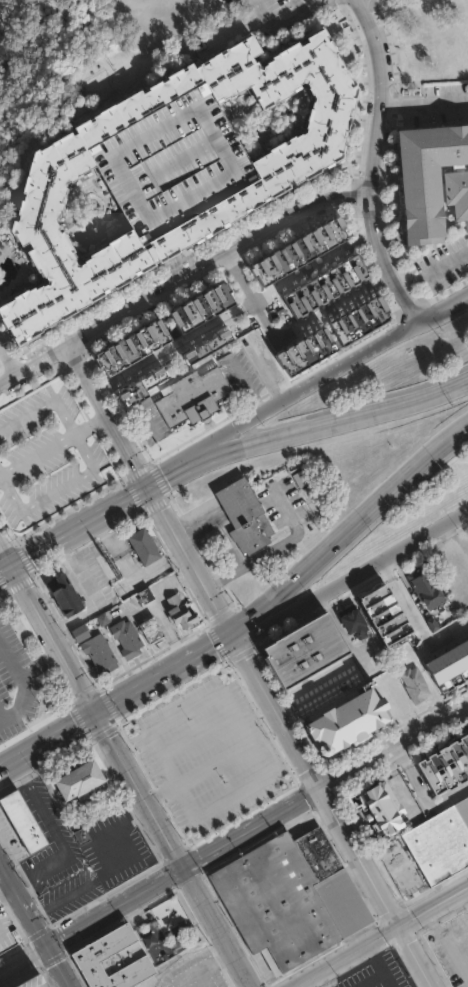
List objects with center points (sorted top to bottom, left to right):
building: (454, 6)
road: (306, 7)
road: (312, 13)
road: (269, 15)
park: (51, 72)
road: (423, 101)
building: (170, 158)
parking garage: (170, 158)
road: (369, 163)
building: (430, 175)
building: (235, 199)
building: (291, 253)
road: (447, 264)
road: (313, 272)
road: (176, 280)
road: (237, 280)
building: (319, 288)
road: (442, 307)
road: (332, 308)
building: (198, 310)
road: (264, 323)
building: (351, 323)
building: (204, 349)
building: (129, 350)
road: (175, 350)
building: (297, 354)
road: (10, 365)
building: (136, 390)
road: (302, 393)
building: (191, 402)
road: (110, 416)
road: (328, 424)
road: (55, 448)
parking lot: (46, 460)
road: (169, 477)
building: (299, 479)
traffic signals: (148, 487)
building: (245, 517)
road: (82, 526)
road: (351, 534)
road: (453, 537)
building: (144, 548)
road: (8, 551)
road: (189, 559)
traffic signals: (17, 566)
road: (8, 570)
road: (351, 577)
building: (59, 597)
building: (427, 599)
building: (144, 600)
building: (383, 613)
building: (178, 617)
road: (417, 620)
building: (347, 622)
traffic signals: (230, 632)
building: (150, 634)
road: (56, 640)
building: (109, 647)
building: (309, 655)
building: (448, 664)
road: (163, 674)
parking lot: (22, 676)
building: (19, 680)
building: (414, 684)
traffic signals: (95, 714)
building: (348, 722)
road: (196, 733)
road: (47, 742)
parking lot: (208, 753)
building: (443, 764)
road: (199, 773)
building: (77, 779)
road: (138, 790)
building: (378, 804)
road: (331, 809)
road: (196, 818)
building: (22, 819)
road: (258, 823)
building: (81, 835)
parking lot: (114, 850)
building: (428, 850)
parking lot: (56, 861)
building: (289, 897)
road: (24, 900)
road: (217, 926)
building: (6, 930)
parking garage: (6, 930)
road: (381, 937)
traffic signals: (48, 943)
road: (446, 948)
road: (24, 957)
building: (111, 957)
road: (60, 965)
parking lot: (195, 972)
parking lot: (378, 974)
building: (29, 981)
parking garage: (29, 981)
parking lot: (151, 984)

